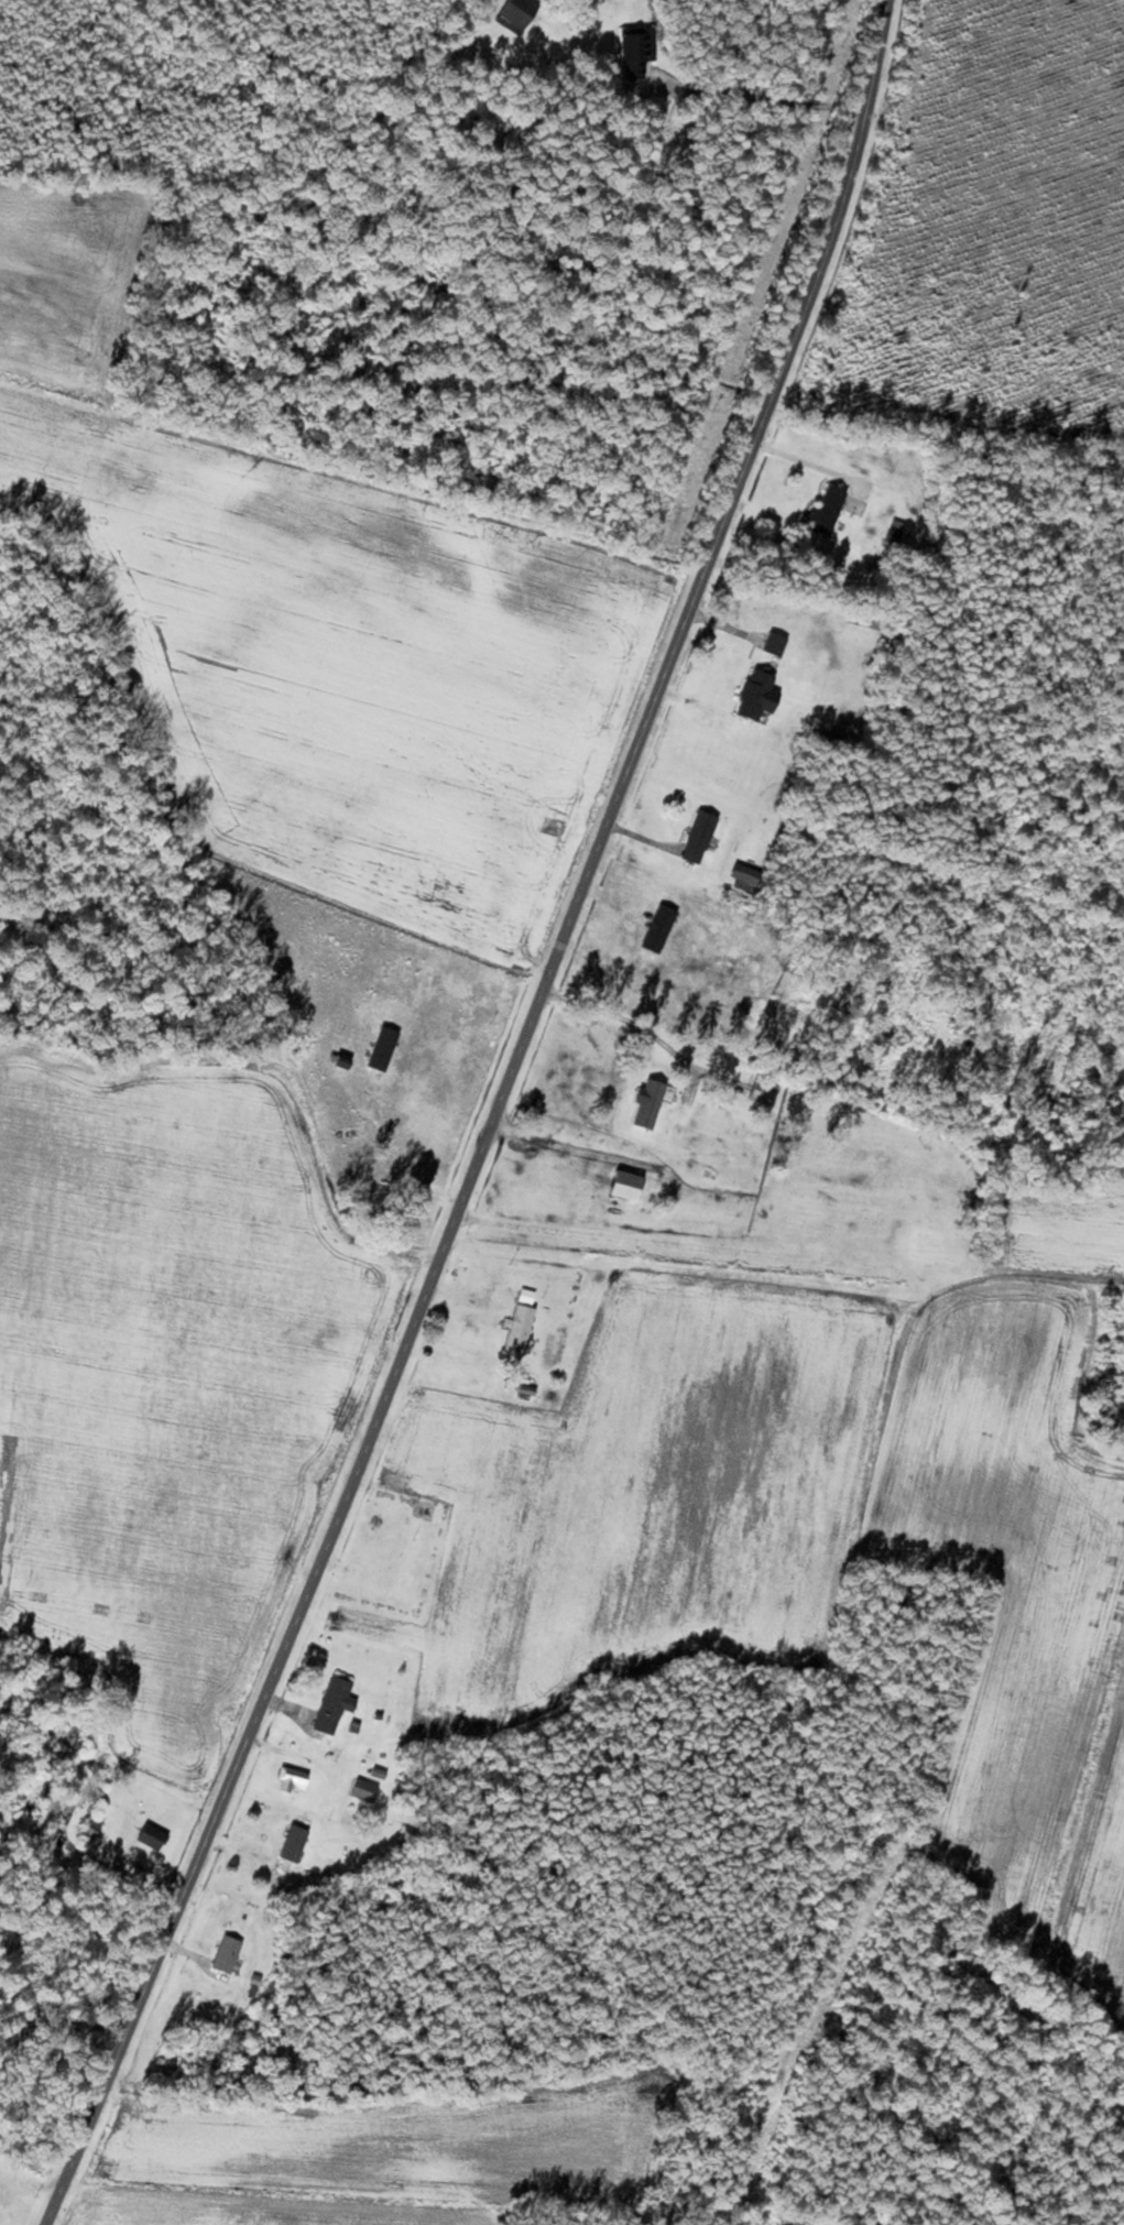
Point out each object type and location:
building: (520, 13)
building: (639, 51)
building: (829, 509)
building: (897, 527)
building: (771, 657)
building: (701, 836)
building: (751, 873)
building: (385, 1047)
building: (766, 1090)
building: (652, 1102)
road: (490, 1122)
building: (631, 1185)
building: (489, 1293)
building: (522, 1327)
building: (337, 1702)
building: (295, 1778)
building: (92, 1784)
building: (367, 1788)
building: (57, 1799)
building: (26, 1821)
building: (95, 1828)
building: (154, 1835)
building: (295, 1847)
building: (229, 1953)

